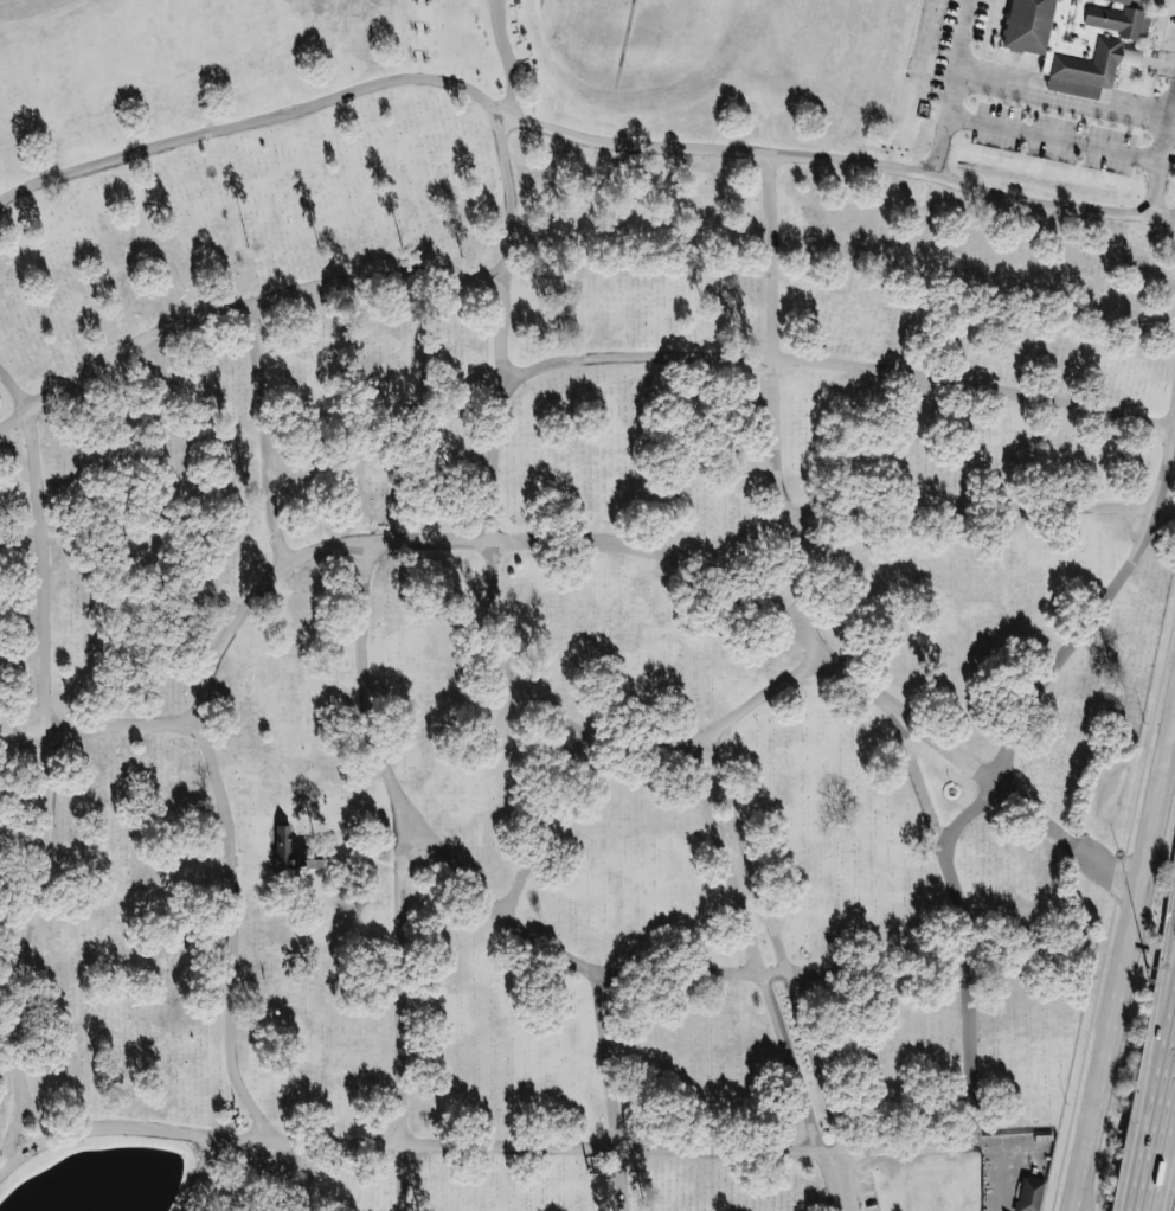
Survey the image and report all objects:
building: (1135, 0)
road: (419, 38)
building: (1076, 39)
road: (951, 85)
parking lot: (955, 91)
road: (1064, 95)
road: (253, 121)
road: (1053, 137)
road: (841, 160)
building: (280, 161)
road: (1162, 161)
road: (509, 190)
road: (236, 307)
road: (758, 357)
road: (264, 435)
road: (392, 479)
road: (968, 508)
road: (71, 534)
road: (206, 534)
road: (259, 590)
road: (802, 602)
park: (564, 607)
road: (362, 680)
road: (97, 726)
road: (605, 736)
road: (47, 765)
road: (914, 777)
flagpole: (952, 792)
road: (544, 826)
building: (283, 845)
road: (321, 845)
street lamp: (1117, 851)
road: (366, 859)
road: (253, 861)
building: (313, 864)
road: (389, 864)
road: (781, 946)
road: (756, 953)
road: (1128, 953)
road: (655, 973)
flagpole: (274, 1005)
road: (403, 1013)
road: (1158, 1050)
road: (610, 1091)
road: (47, 1116)
road: (1166, 1122)
road: (879, 1148)
road: (203, 1174)
road: (843, 1183)
road: (1003, 1183)
road: (1152, 1191)
building: (1029, 1194)
road: (1077, 1199)

